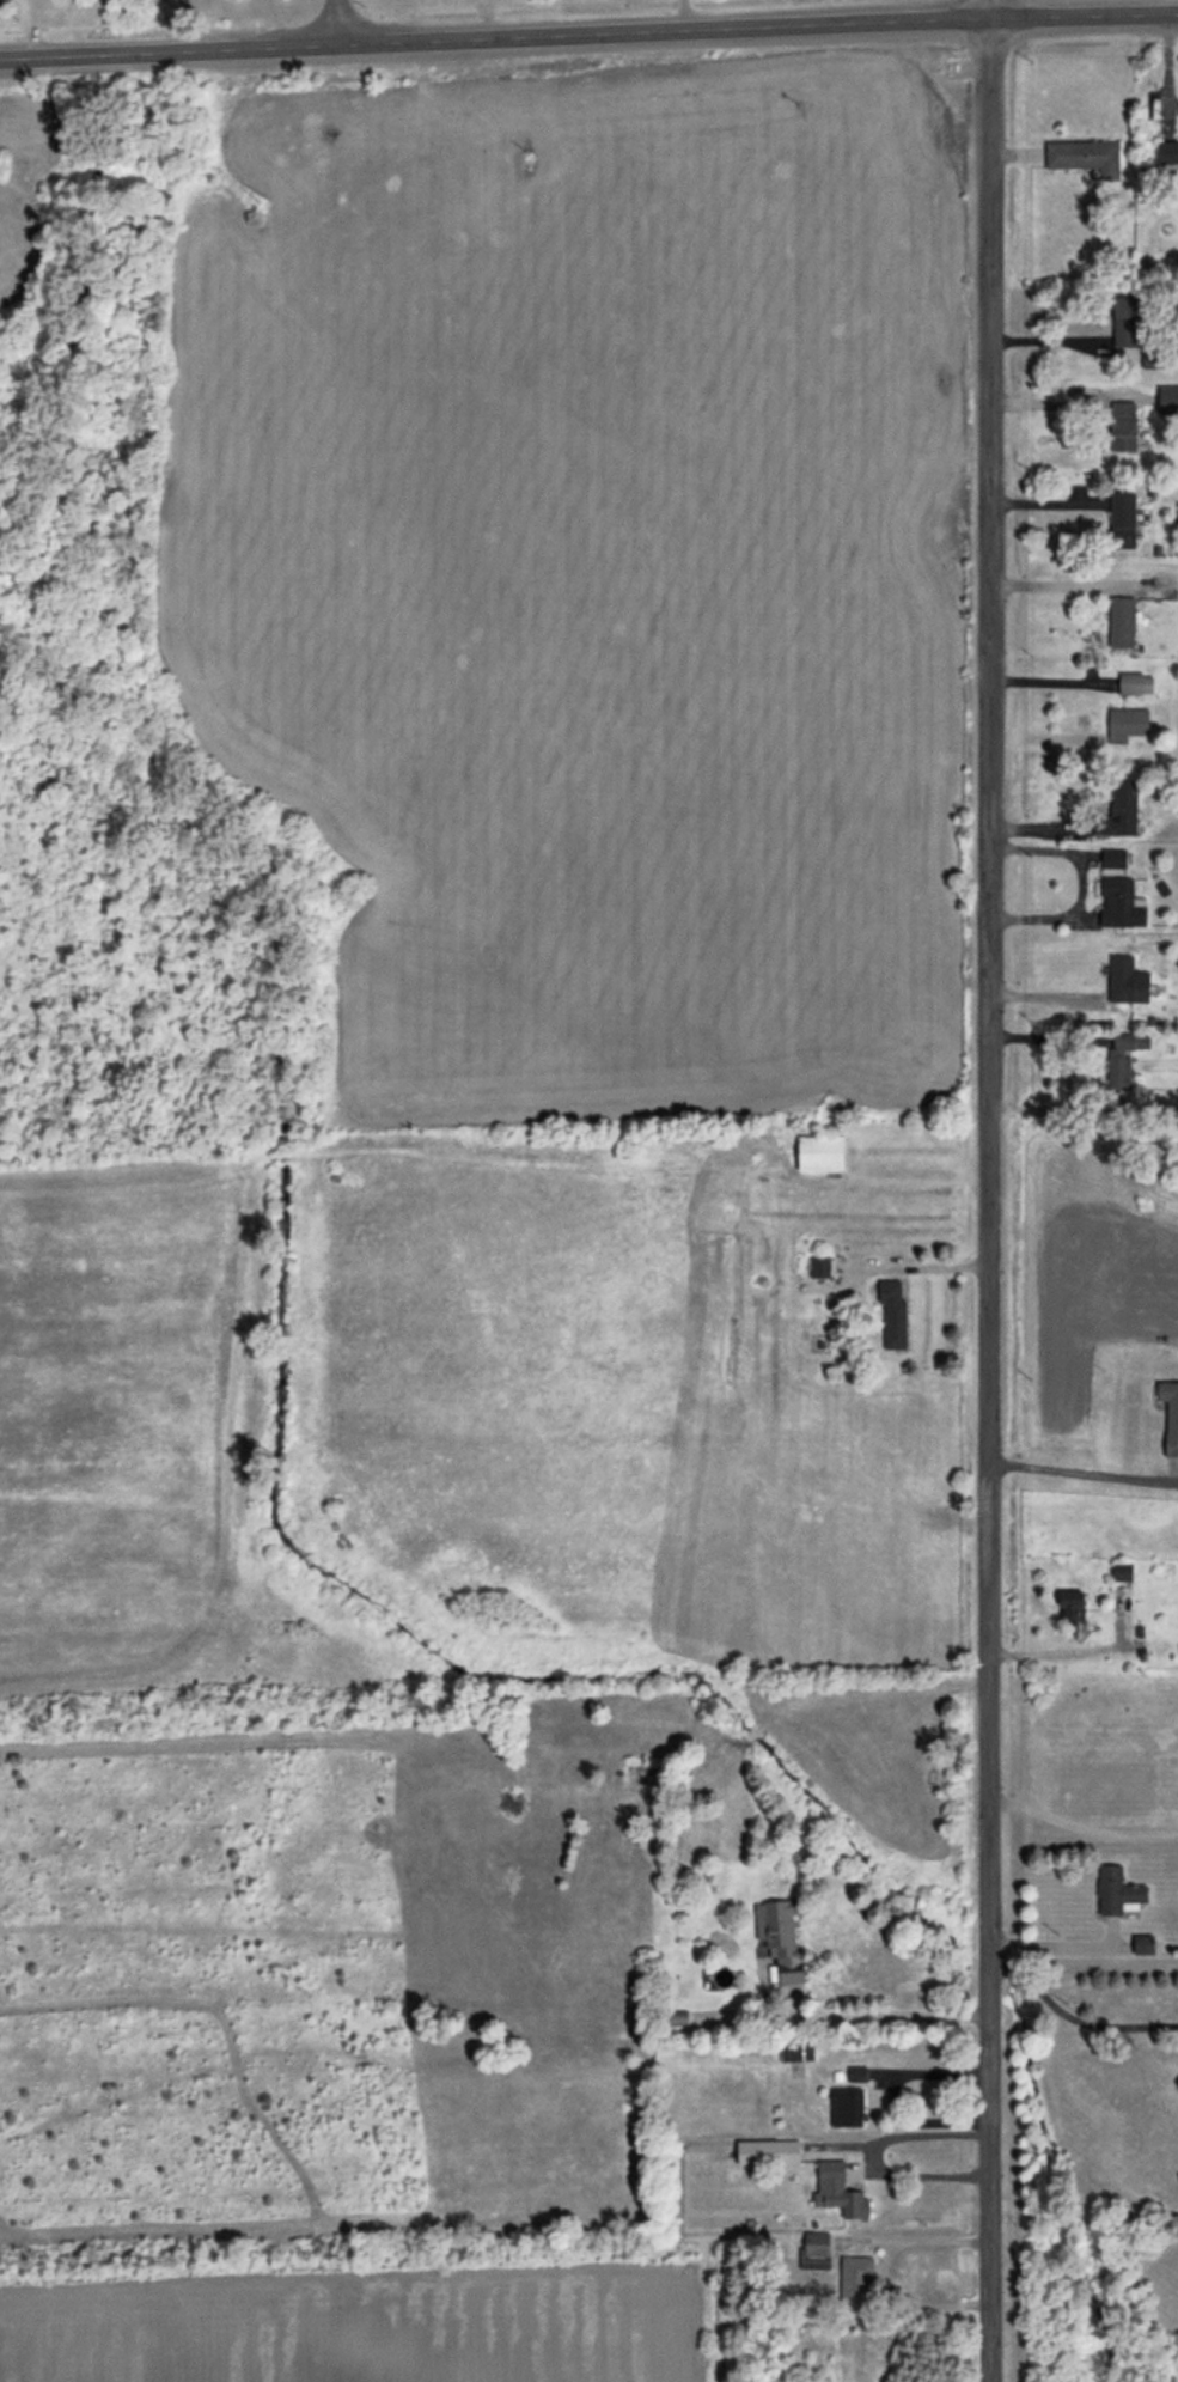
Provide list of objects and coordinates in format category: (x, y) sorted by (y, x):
road: (1177, 6)
road: (332, 20)
road: (588, 31)
road: (1166, 62)
building: (1167, 152)
building: (1085, 156)
building: (1124, 321)
road: (1051, 340)
road: (1069, 404)
building: (1123, 518)
road: (1056, 584)
building: (1161, 587)
building: (1135, 683)
road: (1049, 689)
building: (1127, 724)
building: (1119, 810)
building: (1113, 858)
road: (1079, 885)
building: (1121, 902)
building: (1127, 980)
road: (1051, 995)
road: (1050, 1038)
building: (1123, 1058)
road: (1052, 1110)
building: (820, 1152)
road: (987, 1190)
building: (820, 1266)
building: (893, 1314)
road: (1081, 1480)
road: (1064, 1650)
road: (1079, 1834)
building: (779, 1938)
road: (1050, 1943)
road: (874, 2015)
road: (1073, 2017)
building: (796, 2051)
building: (857, 2072)
road: (891, 2095)
building: (847, 2107)
building: (769, 2151)
road: (871, 2156)
building: (838, 2189)
road: (926, 2238)
building: (816, 2250)
building: (856, 2279)

